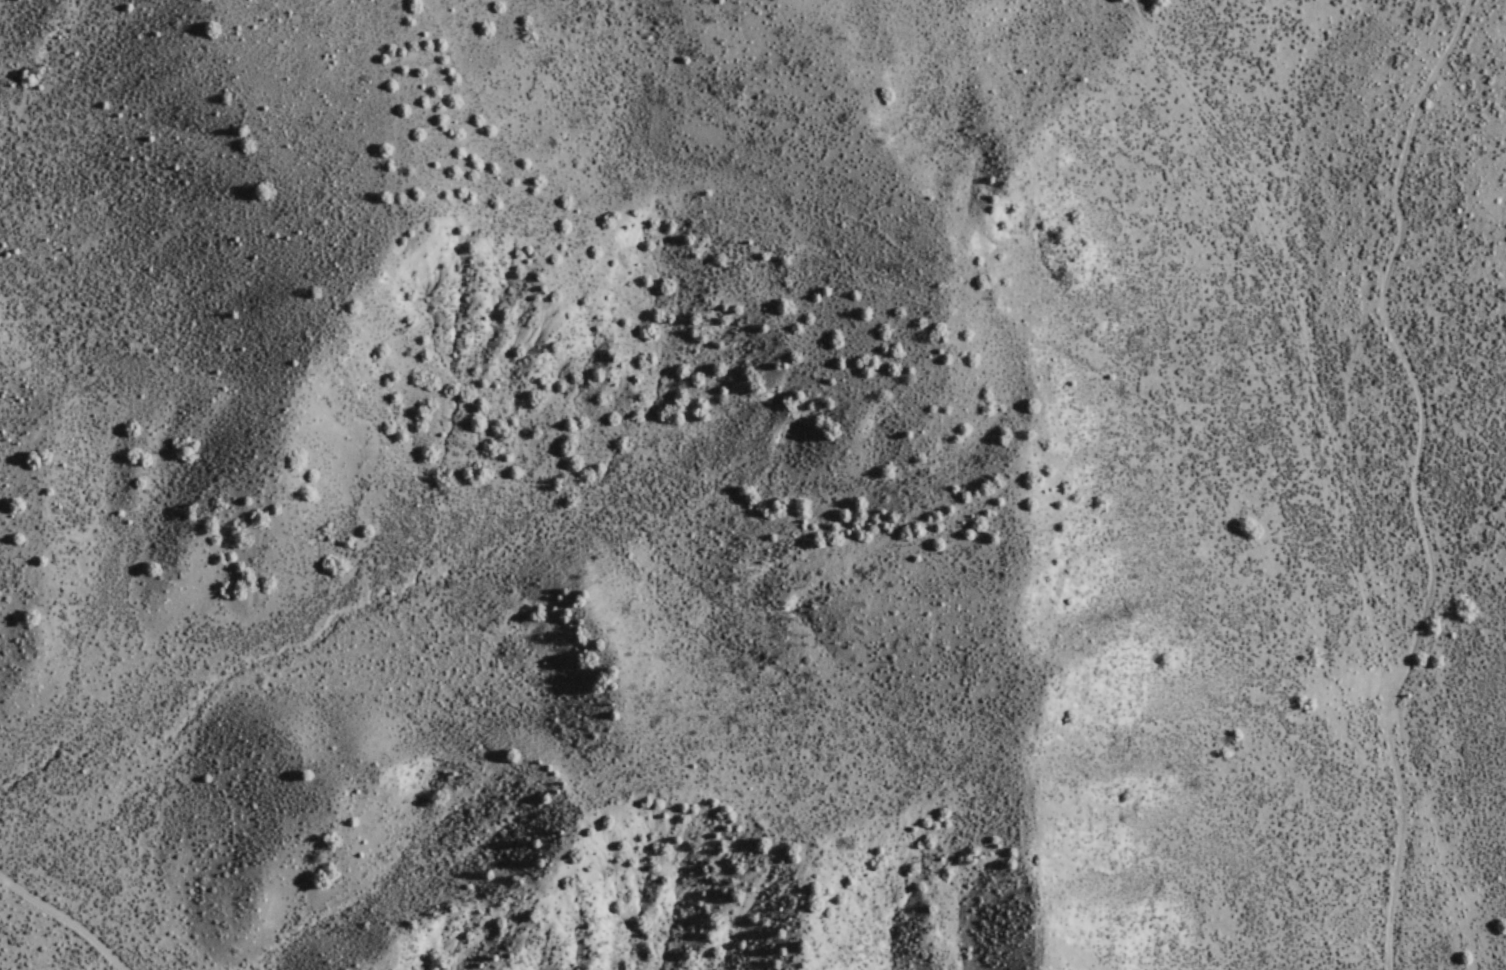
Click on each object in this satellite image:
road: (1419, 475)
crop: (1488, 896)
road: (59, 925)

